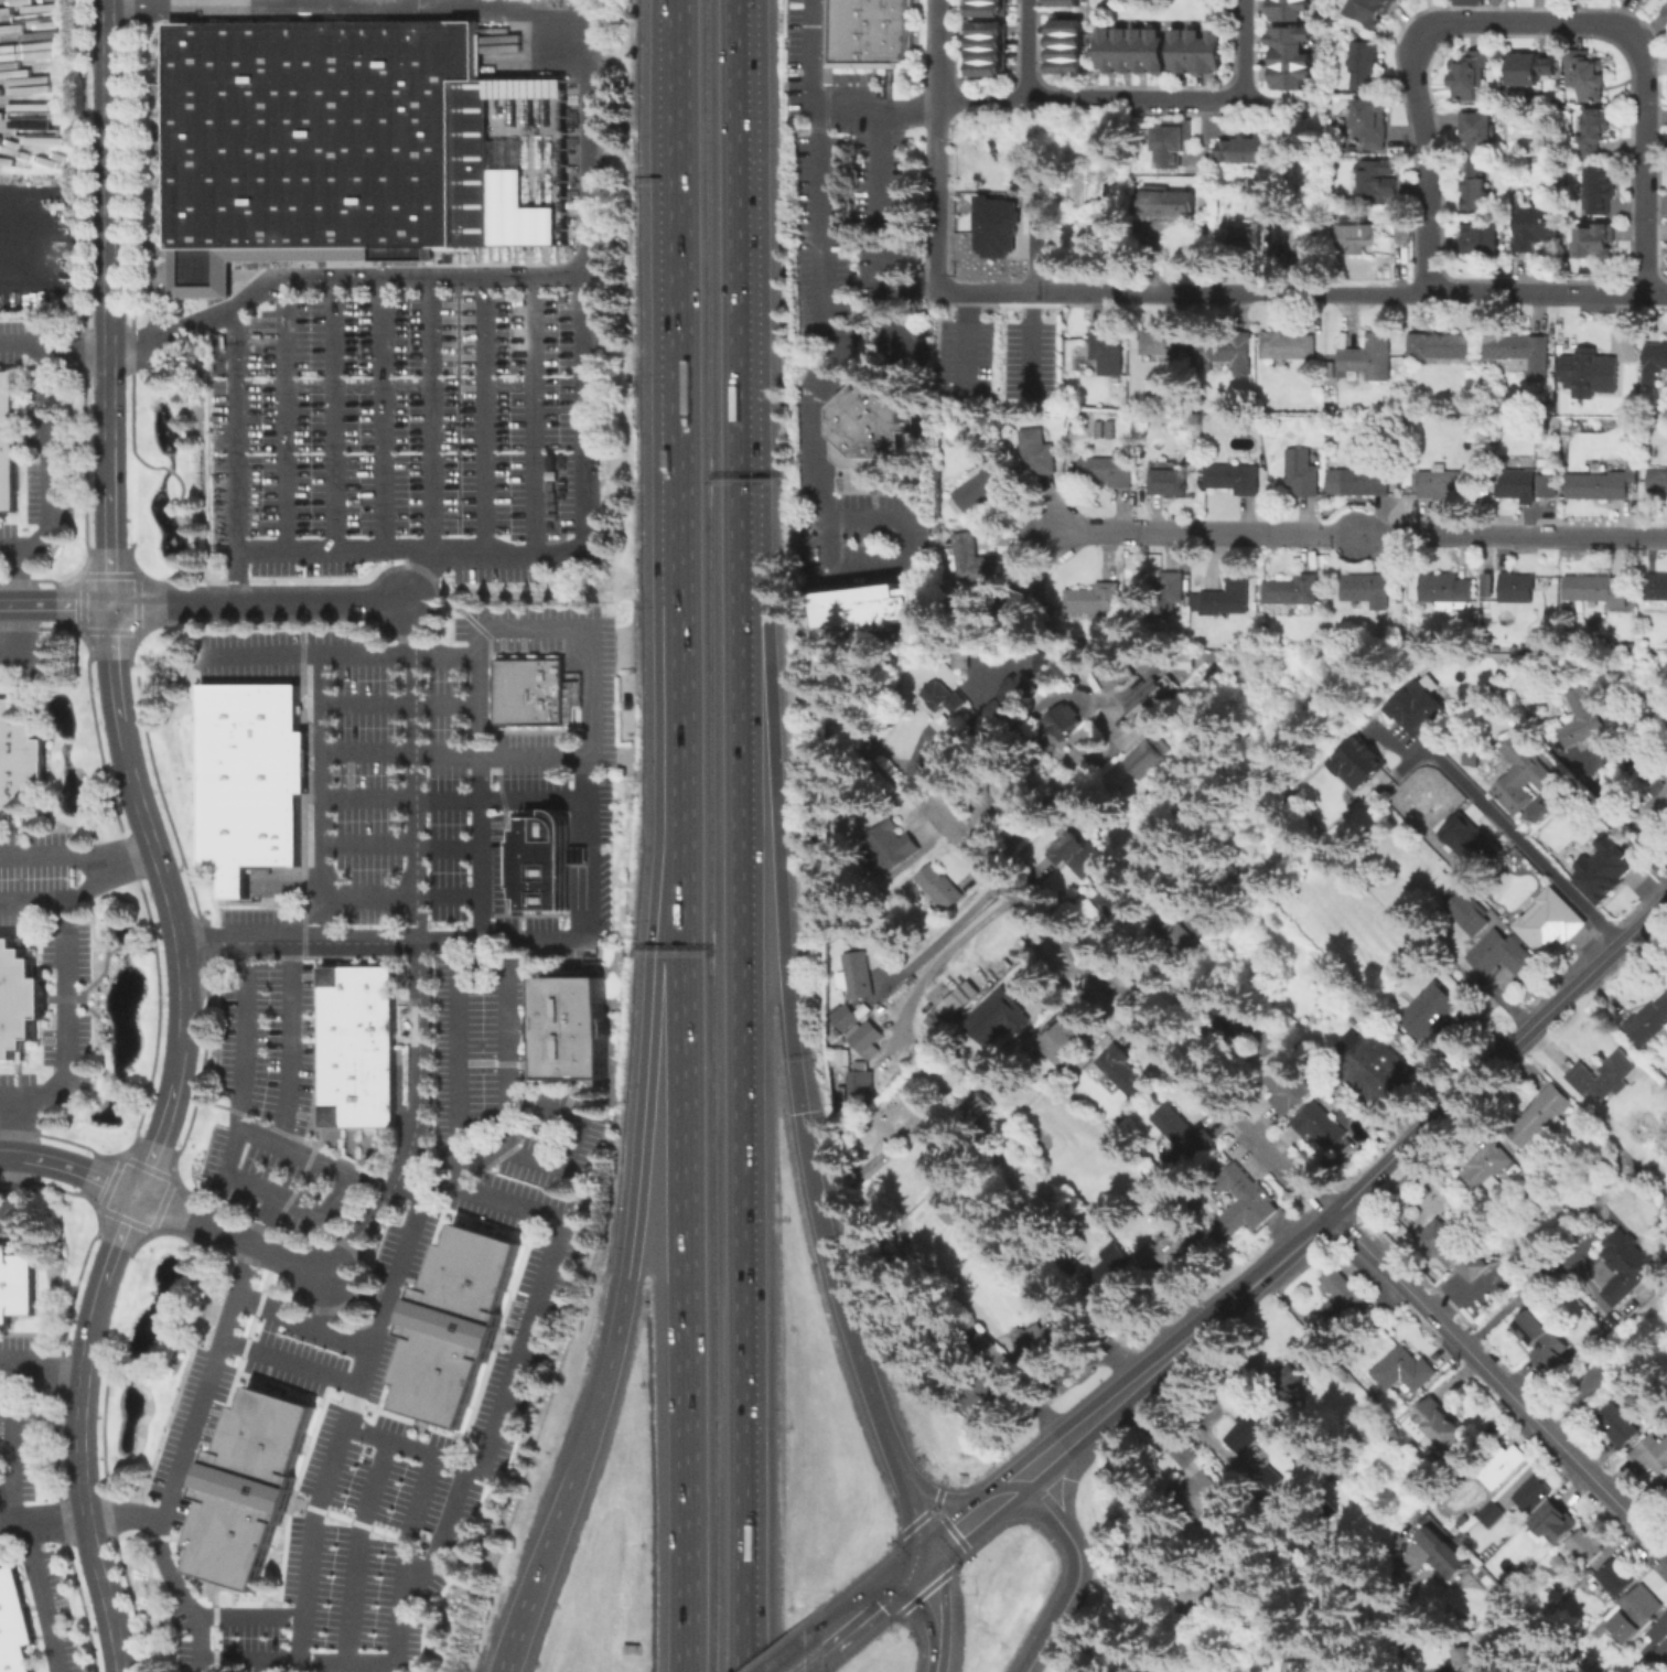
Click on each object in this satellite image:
building: (989, 0)
building: (1645, 0)
building: (1060, 2)
building: (987, 8)
road: (1244, 9)
building: (1665, 10)
building: (1289, 11)
building: (1369, 12)
road: (1073, 14)
building: (1665, 14)
road: (1527, 20)
building: (1063, 25)
building: (987, 29)
building: (868, 33)
building: (1063, 39)
building: (987, 41)
road: (936, 49)
road: (1029, 49)
building: (1063, 52)
building: (1133, 53)
building: (987, 54)
building: (1197, 54)
parking lot: (793, 57)
road: (1241, 57)
building: (1291, 60)
building: (1063, 65)
building: (986, 68)
building: (1364, 68)
building: (1531, 72)
building: (1469, 76)
building: (1587, 77)
road: (1033, 98)
road: (1205, 99)
road: (827, 100)
building: (1370, 125)
building: (1478, 133)
building: (1595, 135)
building: (1174, 142)
building: (337, 146)
road: (1330, 146)
building: (1243, 153)
road: (879, 164)
building: (1378, 179)
building: (1103, 187)
building: (1474, 187)
building: (1601, 191)
road: (935, 193)
road: (590, 201)
parking lot: (839, 207)
building: (1172, 207)
road: (818, 226)
building: (994, 226)
building: (1537, 229)
building: (1358, 237)
building: (1247, 239)
building: (1304, 242)
building: (1482, 242)
building: (1595, 246)
road: (23, 247)
parking lot: (881, 259)
road: (741, 275)
road: (203, 281)
road: (254, 281)
road: (1182, 291)
road: (1548, 296)
road: (890, 303)
road: (155, 309)
road: (966, 343)
road: (22, 344)
parking lot: (903, 347)
building: (1162, 347)
building: (1289, 347)
building: (1443, 349)
building: (1226, 353)
building: (1107, 355)
building: (1520, 355)
parking lot: (962, 358)
building: (1369, 361)
building: (1656, 363)
building: (1599, 368)
road: (826, 373)
road: (433, 415)
road: (485, 415)
road: (537, 415)
road: (286, 416)
road: (334, 416)
road: (387, 416)
parking lot: (406, 426)
building: (1103, 428)
road: (674, 436)
building: (871, 436)
building: (7, 440)
road: (237, 452)
building: (1041, 454)
road: (47, 464)
building: (1110, 470)
road: (109, 474)
building: (1302, 474)
building: (1235, 479)
building: (1659, 480)
building: (1171, 483)
building: (1451, 483)
building: (1366, 484)
building: (1519, 485)
building: (1600, 485)
building: (1549, 486)
building: (983, 487)
parking lot: (857, 517)
road: (1358, 534)
road: (548, 550)
building: (976, 559)
road: (903, 567)
road: (22, 576)
road: (421, 578)
building: (1485, 585)
building: (1595, 588)
building: (1519, 590)
building: (1656, 590)
building: (1293, 591)
building: (1367, 591)
building: (1448, 592)
building: (1168, 594)
building: (1227, 599)
building: (1094, 600)
road: (256, 602)
road: (55, 603)
building: (873, 609)
road: (15, 641)
road: (340, 653)
building: (960, 660)
building: (1050, 662)
road: (35, 663)
building: (1110, 676)
building: (534, 692)
building: (1013, 699)
building: (1149, 699)
road: (400, 704)
building: (1415, 704)
building: (947, 709)
building: (1579, 716)
building: (1065, 722)
road: (456, 751)
road: (589, 751)
parking lot: (440, 760)
building: (1472, 760)
building: (18, 761)
building: (1144, 761)
building: (1354, 761)
building: (1524, 778)
building: (254, 779)
road: (1044, 793)
road: (455, 796)
road: (323, 797)
building: (1657, 808)
road: (579, 821)
road: (1612, 826)
road: (774, 829)
road: (1521, 839)
building: (1467, 840)
road: (401, 844)
building: (892, 849)
road: (54, 855)
road: (579, 855)
building: (1077, 856)
building: (542, 859)
building: (1600, 868)
building: (943, 890)
road: (579, 896)
road: (34, 903)
building: (1120, 911)
building: (1469, 917)
building: (1546, 923)
road: (208, 936)
building: (1179, 941)
road: (361, 942)
road: (953, 948)
road: (418, 950)
road: (178, 955)
building: (1505, 958)
road: (215, 965)
road: (68, 977)
building: (860, 977)
building: (357, 985)
building: (19, 1000)
road: (1125, 1006)
building: (956, 1008)
building: (1430, 1012)
building: (849, 1015)
building: (1009, 1018)
building: (1649, 1019)
building: (1238, 1022)
building: (357, 1023)
building: (568, 1027)
building: (1067, 1038)
building: (868, 1040)
road: (292, 1044)
building: (1266, 1044)
building: (843, 1059)
building: (357, 1065)
building: (1123, 1072)
building: (1376, 1074)
building: (864, 1086)
building: (1290, 1089)
building: (1596, 1095)
road: (460, 1096)
building: (357, 1105)
building: (978, 1107)
road: (741, 1112)
building: (1544, 1118)
building: (1323, 1126)
road: (19, 1127)
road: (508, 1136)
building: (1182, 1139)
building: (883, 1160)
road: (68, 1167)
building: (1485, 1171)
road: (246, 1186)
road: (370, 1186)
road: (10, 1187)
road: (1349, 1194)
building: (1256, 1207)
road: (154, 1219)
road: (265, 1221)
road: (139, 1224)
road: (632, 1224)
road: (229, 1233)
road: (186, 1235)
building: (1171, 1250)
building: (1453, 1252)
building: (1626, 1267)
road: (684, 1271)
building: (1109, 1271)
building: (15, 1285)
road: (1521, 1287)
road: (838, 1293)
road: (327, 1301)
building: (1342, 1303)
road: (539, 1306)
road: (174, 1309)
road: (90, 1316)
building: (454, 1322)
road: (302, 1323)
building: (1051, 1338)
building: (1544, 1344)
road: (41, 1360)
road: (290, 1362)
road: (135, 1366)
building: (1405, 1372)
road: (206, 1382)
building: (1595, 1382)
building: (1290, 1383)
road: (1498, 1384)
building: (991, 1385)
building: (1439, 1426)
building: (1618, 1427)
road: (101, 1429)
road: (341, 1433)
building: (1247, 1434)
road: (11, 1445)
parking lot: (359, 1454)
building: (1652, 1455)
building: (1503, 1462)
road: (6, 1478)
road: (1066, 1479)
building: (1666, 1485)
building: (247, 1488)
road: (1008, 1489)
road: (940, 1497)
building: (1202, 1497)
building: (1534, 1497)
road: (911, 1511)
building: (1492, 1516)
road: (12, 1524)
building: (1556, 1524)
road: (958, 1528)
road: (29, 1534)
road: (442, 1539)
building: (1587, 1548)
road: (357, 1552)
building: (1444, 1555)
traffic signals: (923, 1556)
road: (169, 1572)
road: (1079, 1572)
building: (1616, 1579)
road: (871, 1598)
road: (397, 1608)
road: (1402, 1610)
building: (1636, 1611)
road: (933, 1614)
road: (519, 1620)
building: (14, 1625)
road: (301, 1640)
road: (197, 1643)
building: (1659, 1646)
road: (802, 1657)
building: (1467, 1661)
building: (1298, 1668)
building: (1665, 1670)

